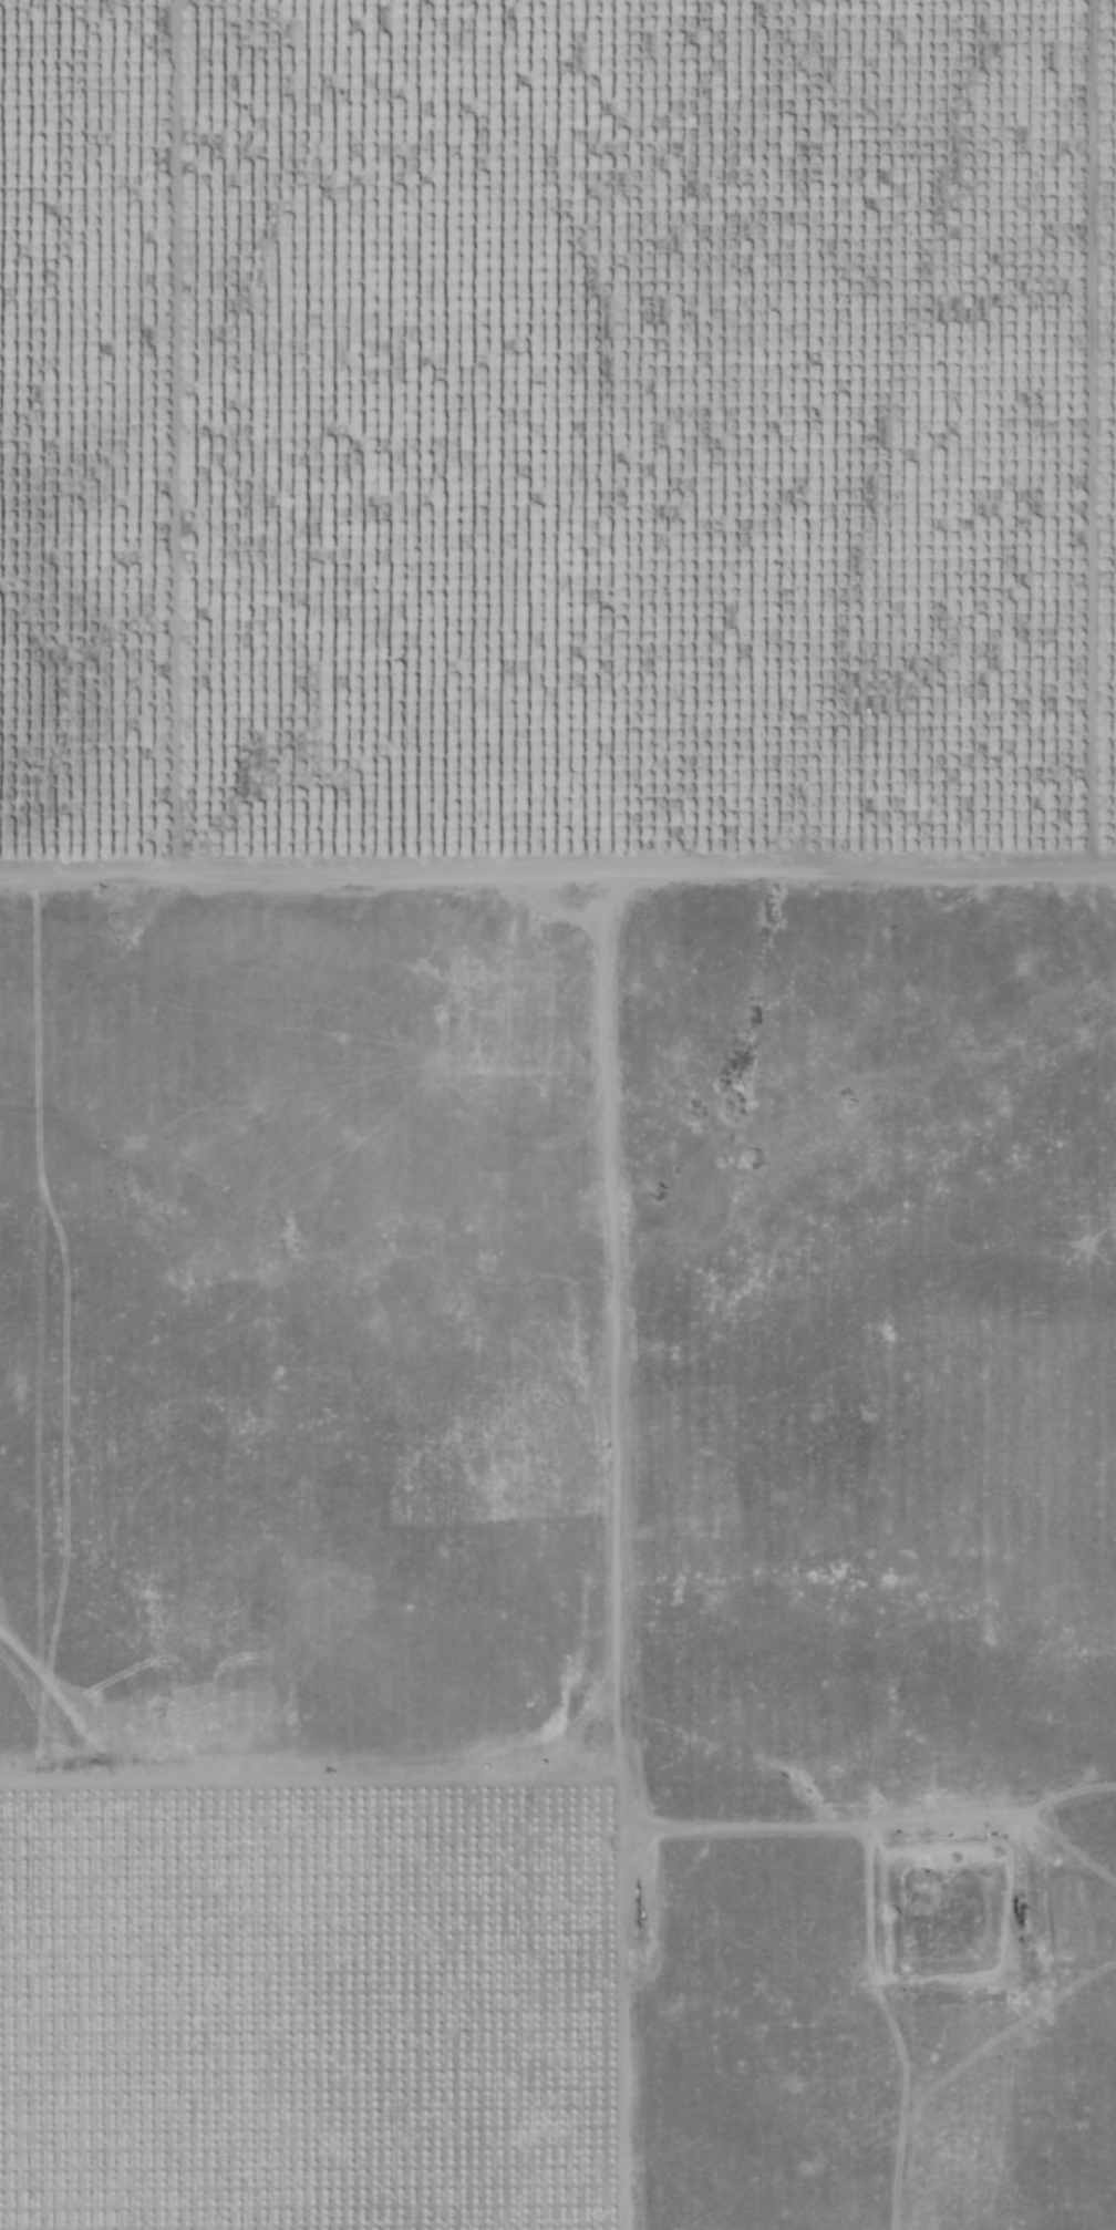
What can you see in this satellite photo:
road: (800, 460)
road: (557, 915)
road: (607, 1105)

